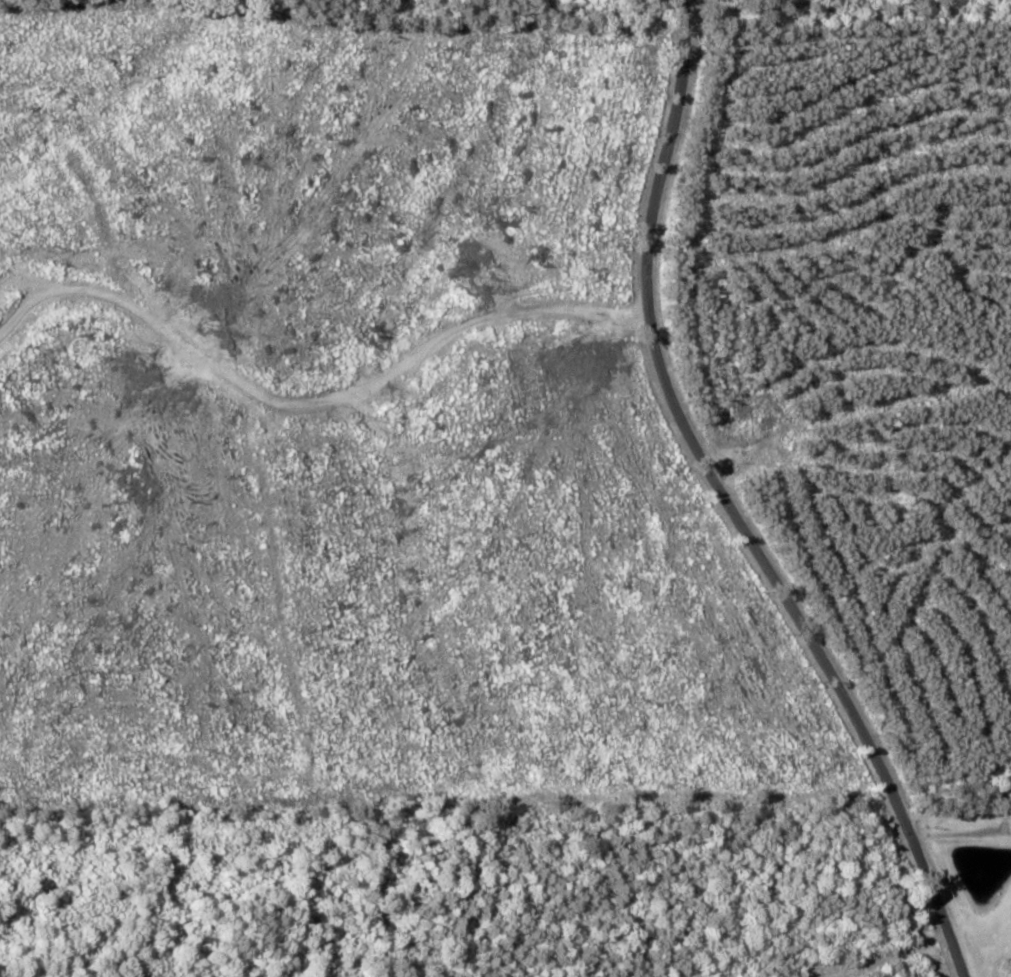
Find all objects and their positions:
road: (724, 512)

